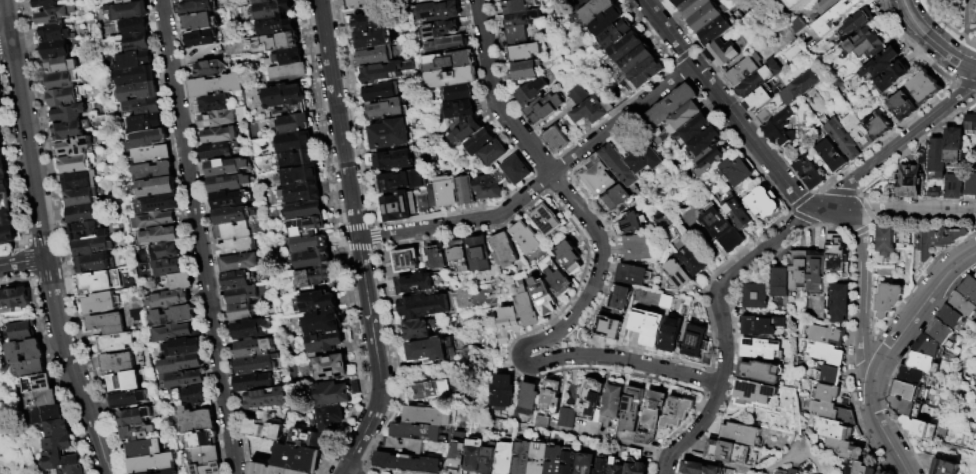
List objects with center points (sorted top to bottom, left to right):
building: (177, 0)
building: (127, 1)
building: (428, 1)
building: (442, 1)
building: (512, 1)
building: (261, 2)
building: (575, 2)
building: (47, 3)
building: (365, 3)
building: (677, 3)
building: (800, 3)
building: (194, 6)
building: (526, 6)
building: (827, 6)
building: (693, 7)
building: (594, 9)
building: (269, 10)
building: (128, 11)
building: (442, 11)
building: (55, 14)
building: (837, 15)
building: (706, 17)
road: (21, 18)
road: (966, 18)
road: (10, 19)
building: (521, 19)
park: (954, 19)
building: (605, 20)
building: (199, 21)
building: (373, 21)
road: (23, 22)
building: (855, 22)
road: (678, 23)
building: (134, 26)
building: (276, 26)
road: (947, 26)
road: (971, 28)
building: (443, 29)
building: (715, 30)
building: (614, 31)
building: (54, 33)
road: (647, 33)
building: (516, 37)
road: (5, 38)
building: (202, 38)
building: (372, 38)
building: (281, 41)
road: (931, 42)
building: (134, 43)
building: (863, 43)
building: (443, 45)
building: (622, 45)
road: (25, 47)
road: (911, 47)
building: (55, 48)
road: (11, 52)
building: (722, 52)
parking lot: (203, 53)
building: (525, 53)
road: (472, 54)
road: (683, 54)
building: (374, 56)
building: (284, 57)
building: (634, 57)
road: (969, 57)
building: (133, 60)
building: (447, 61)
building: (62, 64)
road: (671, 65)
building: (879, 67)
building: (209, 69)
building: (529, 71)
building: (743, 71)
building: (287, 72)
building: (384, 72)
building: (643, 72)
road: (677, 72)
building: (137, 75)
building: (892, 77)
road: (974, 77)
building: (449, 78)
building: (759, 78)
building: (64, 79)
road: (964, 83)
building: (215, 85)
road: (974, 85)
building: (923, 86)
building: (801, 87)
building: (535, 90)
building: (138, 91)
building: (380, 92)
building: (455, 94)
building: (577, 95)
building: (66, 96)
road: (493, 96)
building: (286, 98)
building: (758, 99)
building: (211, 103)
building: (673, 104)
building: (903, 105)
building: (0, 107)
building: (143, 107)
building: (388, 109)
building: (459, 109)
building: (544, 110)
building: (588, 111)
road: (730, 112)
building: (70, 113)
road: (353, 114)
road: (320, 116)
building: (684, 116)
building: (766, 116)
road: (751, 118)
building: (217, 119)
building: (970, 122)
building: (147, 123)
building: (292, 124)
building: (878, 125)
road: (624, 127)
road: (25, 128)
building: (695, 128)
building: (781, 128)
building: (72, 129)
building: (858, 130)
building: (0, 131)
building: (466, 131)
building: (218, 134)
building: (391, 134)
road: (889, 135)
building: (148, 139)
building: (555, 139)
building: (844, 139)
building: (705, 140)
road: (733, 140)
building: (295, 142)
building: (481, 142)
building: (954, 142)
road: (896, 143)
road: (43, 144)
road: (915, 144)
building: (76, 147)
road: (545, 147)
building: (216, 150)
building: (494, 153)
building: (641, 153)
building: (0, 154)
building: (151, 155)
building: (833, 155)
building: (921, 156)
building: (937, 157)
building: (709, 158)
building: (297, 159)
building: (394, 160)
building: (75, 164)
building: (619, 164)
road: (11, 165)
road: (544, 165)
road: (560, 165)
building: (224, 167)
building: (3, 168)
building: (511, 170)
building: (735, 170)
building: (154, 171)
building: (809, 172)
building: (597, 174)
building: (297, 176)
building: (77, 180)
road: (539, 180)
building: (909, 180)
building: (400, 181)
building: (228, 183)
road: (555, 183)
building: (3, 184)
road: (540, 184)
building: (970, 185)
building: (953, 186)
building: (157, 187)
building: (486, 187)
road: (816, 190)
road: (839, 190)
building: (466, 191)
building: (447, 192)
building: (933, 192)
building: (300, 193)
road: (583, 193)
road: (858, 193)
building: (432, 196)
building: (82, 197)
road: (916, 197)
building: (229, 199)
building: (616, 199)
building: (4, 200)
road: (498, 200)
road: (799, 201)
building: (158, 203)
building: (762, 203)
building: (396, 206)
building: (304, 209)
road: (785, 209)
road: (866, 209)
road: (902, 210)
building: (82, 213)
building: (231, 215)
building: (740, 215)
building: (5, 216)
road: (802, 218)
building: (546, 219)
building: (156, 220)
building: (631, 223)
road: (369, 224)
road: (926, 224)
road: (608, 225)
road: (353, 226)
road: (832, 226)
building: (305, 227)
building: (724, 228)
road: (860, 229)
building: (87, 230)
building: (231, 231)
road: (465, 231)
building: (8, 234)
building: (159, 236)
road: (975, 236)
road: (185, 237)
road: (198, 237)
road: (208, 237)
road: (339, 238)
building: (526, 238)
road: (40, 239)
building: (886, 239)
building: (937, 239)
road: (23, 240)
road: (358, 240)
road: (13, 244)
building: (307, 244)
building: (93, 246)
road: (367, 246)
building: (234, 247)
road: (614, 247)
building: (638, 247)
building: (503, 250)
building: (165, 251)
building: (478, 254)
building: (690, 255)
building: (459, 256)
road: (61, 257)
building: (435, 257)
building: (569, 257)
building: (835, 257)
building: (314, 259)
road: (26, 260)
building: (406, 260)
road: (22, 261)
building: (94, 262)
building: (239, 263)
road: (613, 266)
building: (168, 267)
building: (816, 272)
building: (886, 272)
building: (797, 273)
building: (634, 274)
building: (680, 275)
road: (47, 276)
road: (30, 279)
building: (313, 279)
building: (235, 280)
building: (559, 280)
road: (15, 281)
building: (181, 281)
building: (780, 282)
building: (97, 283)
building: (415, 283)
road: (607, 284)
road: (860, 289)
building: (969, 289)
building: (240, 295)
building: (755, 295)
building: (543, 297)
building: (620, 297)
building: (13, 299)
building: (169, 299)
building: (887, 299)
building: (666, 301)
building: (101, 302)
building: (315, 302)
building: (839, 302)
building: (963, 305)
building: (424, 306)
building: (528, 308)
building: (685, 310)
building: (240, 312)
road: (593, 312)
road: (918, 313)
building: (173, 316)
building: (954, 318)
building: (321, 322)
road: (573, 322)
road: (723, 322)
building: (107, 323)
building: (508, 323)
building: (762, 325)
building: (647, 326)
road: (883, 326)
road: (580, 327)
building: (608, 327)
building: (420, 328)
building: (249, 329)
road: (580, 329)
building: (20, 331)
building: (173, 332)
road: (711, 333)
building: (944, 333)
building: (672, 334)
building: (826, 335)
building: (696, 340)
building: (116, 342)
building: (322, 342)
road: (585, 342)
road: (524, 346)
building: (182, 347)
building: (930, 347)
building: (252, 348)
building: (761, 348)
building: (25, 350)
building: (428, 350)
road: (587, 350)
building: (826, 353)
building: (923, 363)
building: (117, 364)
building: (181, 364)
building: (254, 364)
road: (360, 364)
road: (898, 364)
road: (71, 367)
building: (30, 368)
building: (329, 368)
building: (762, 371)
road: (89, 373)
road: (394, 374)
building: (829, 374)
road: (542, 375)
building: (914, 376)
road: (58, 377)
building: (181, 380)
building: (124, 382)
building: (251, 382)
building: (38, 383)
building: (437, 388)
building: (503, 391)
building: (908, 391)
building: (335, 392)
building: (754, 393)
building: (828, 394)
building: (190, 395)
building: (551, 395)
building: (589, 397)
building: (265, 398)
building: (528, 398)
building: (43, 399)
building: (127, 399)
building: (975, 404)
building: (612, 407)
building: (631, 408)
building: (910, 408)
building: (832, 411)
building: (49, 414)
building: (675, 414)
building: (425, 416)
building: (652, 416)
building: (134, 417)
building: (564, 417)
building: (329, 418)
building: (196, 419)
building: (541, 421)
building: (262, 429)
building: (834, 429)
building: (923, 429)
building: (416, 431)
road: (882, 431)
building: (137, 432)
building: (740, 433)
building: (200, 439)
building: (308, 439)
building: (402, 445)
building: (144, 448)
building: (62, 449)
building: (849, 449)
building: (460, 451)
building: (730, 452)
building: (204, 455)
building: (475, 455)
building: (523, 457)
road: (693, 457)
building: (298, 458)
building: (507, 458)
building: (540, 458)
building: (490, 459)
building: (555, 460)
building: (571, 461)
building: (637, 462)
building: (151, 463)
building: (408, 463)
building: (587, 463)
building: (604, 466)
building: (618, 467)
building: (944, 467)
building: (700, 468)
building: (861, 468)
building: (207, 469)
building: (271, 469)
road: (363, 471)
building: (162, 472)
building: (787, 472)
road: (362, 473)

